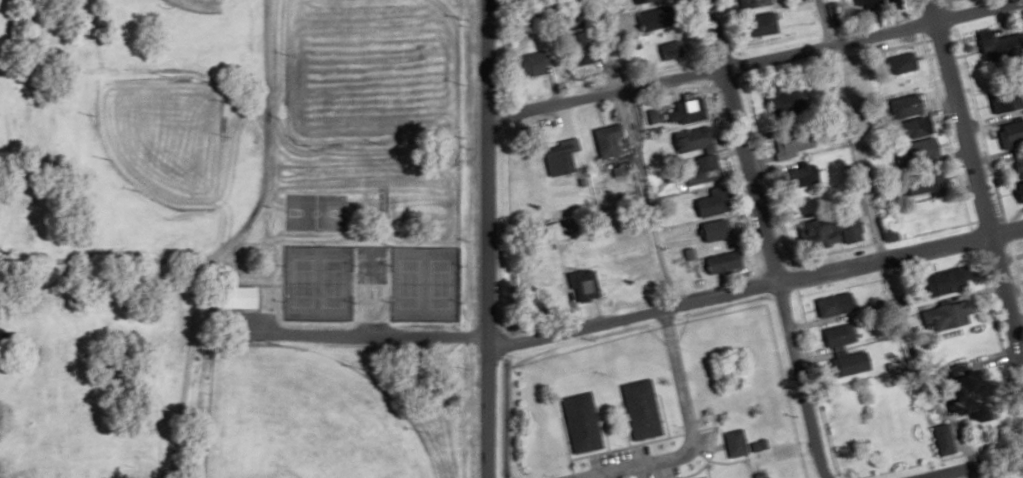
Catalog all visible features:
building: (640, 1)
building: (754, 3)
park: (198, 5)
building: (876, 5)
building: (651, 20)
building: (664, 46)
road: (751, 59)
park: (369, 72)
building: (1022, 100)
building: (910, 108)
building: (919, 127)
road: (849, 129)
park: (160, 139)
building: (693, 140)
building: (608, 142)
building: (791, 147)
building: (931, 150)
road: (630, 153)
building: (1014, 154)
building: (561, 163)
building: (701, 169)
road: (975, 180)
building: (711, 202)
building: (717, 229)
building: (833, 234)
park: (232, 238)
road: (484, 238)
road: (765, 239)
road: (227, 240)
building: (724, 262)
building: (953, 280)
park: (315, 282)
park: (421, 282)
building: (582, 282)
road: (754, 288)
building: (834, 304)
building: (955, 314)
road: (376, 335)
building: (840, 335)
building: (852, 363)
building: (977, 394)
building: (641, 409)
park: (301, 419)
building: (582, 423)
road: (687, 435)
building: (945, 439)
building: (735, 443)
road: (970, 466)
building: (704, 477)

